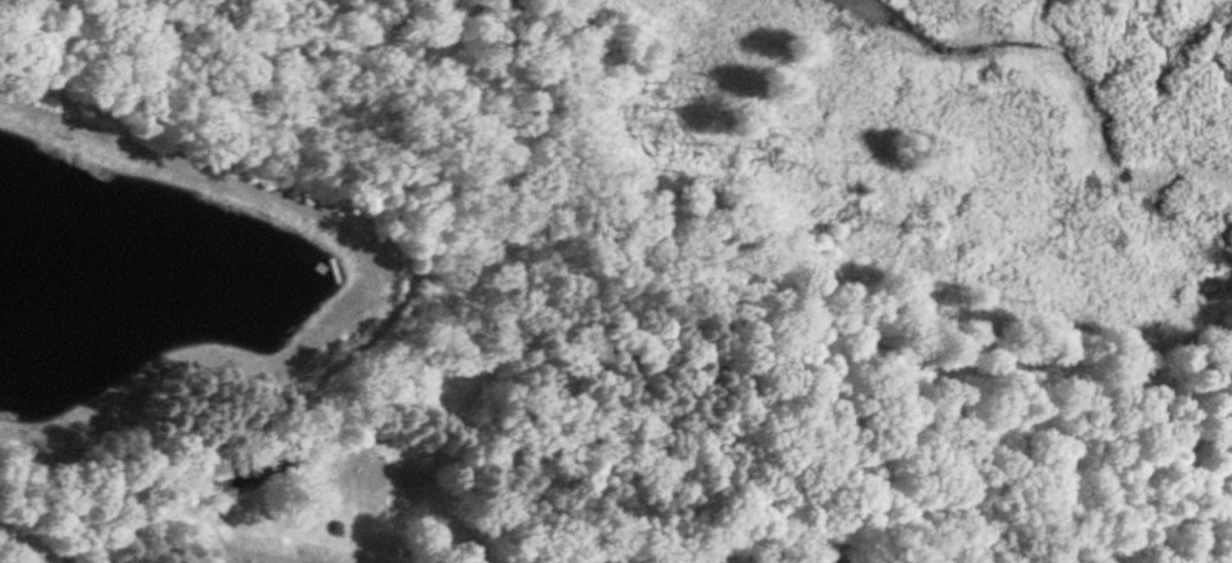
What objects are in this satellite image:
building: (239, 557)

